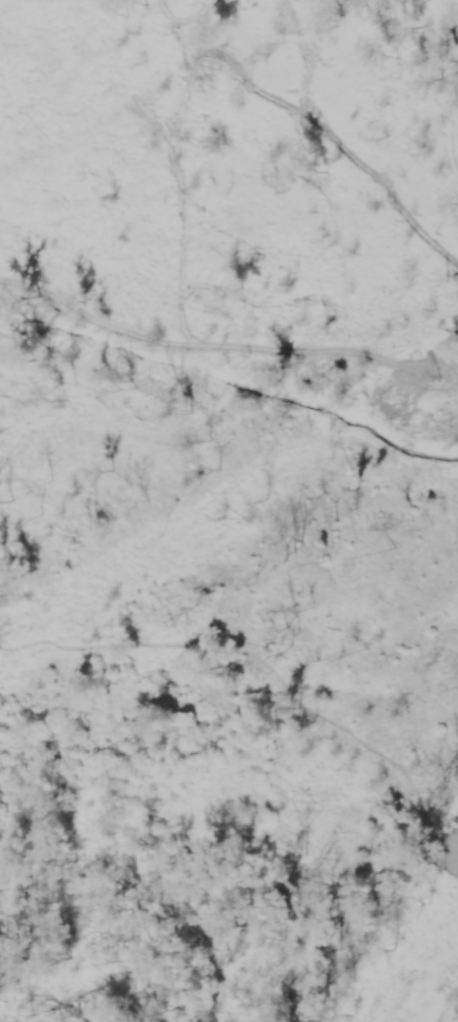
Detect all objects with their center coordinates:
park: (190, 991)

